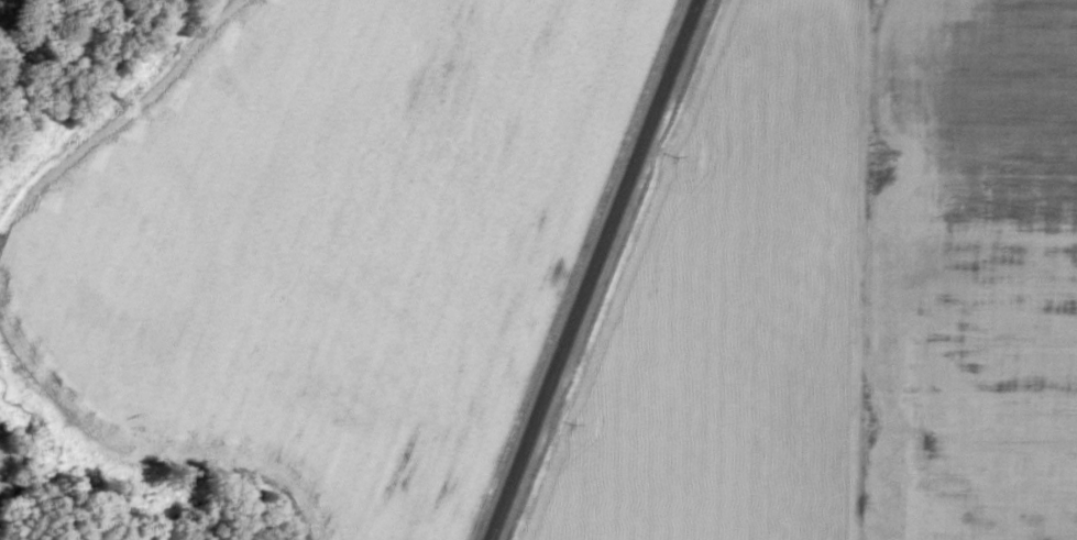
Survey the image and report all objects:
road: (603, 269)
road: (881, 269)

